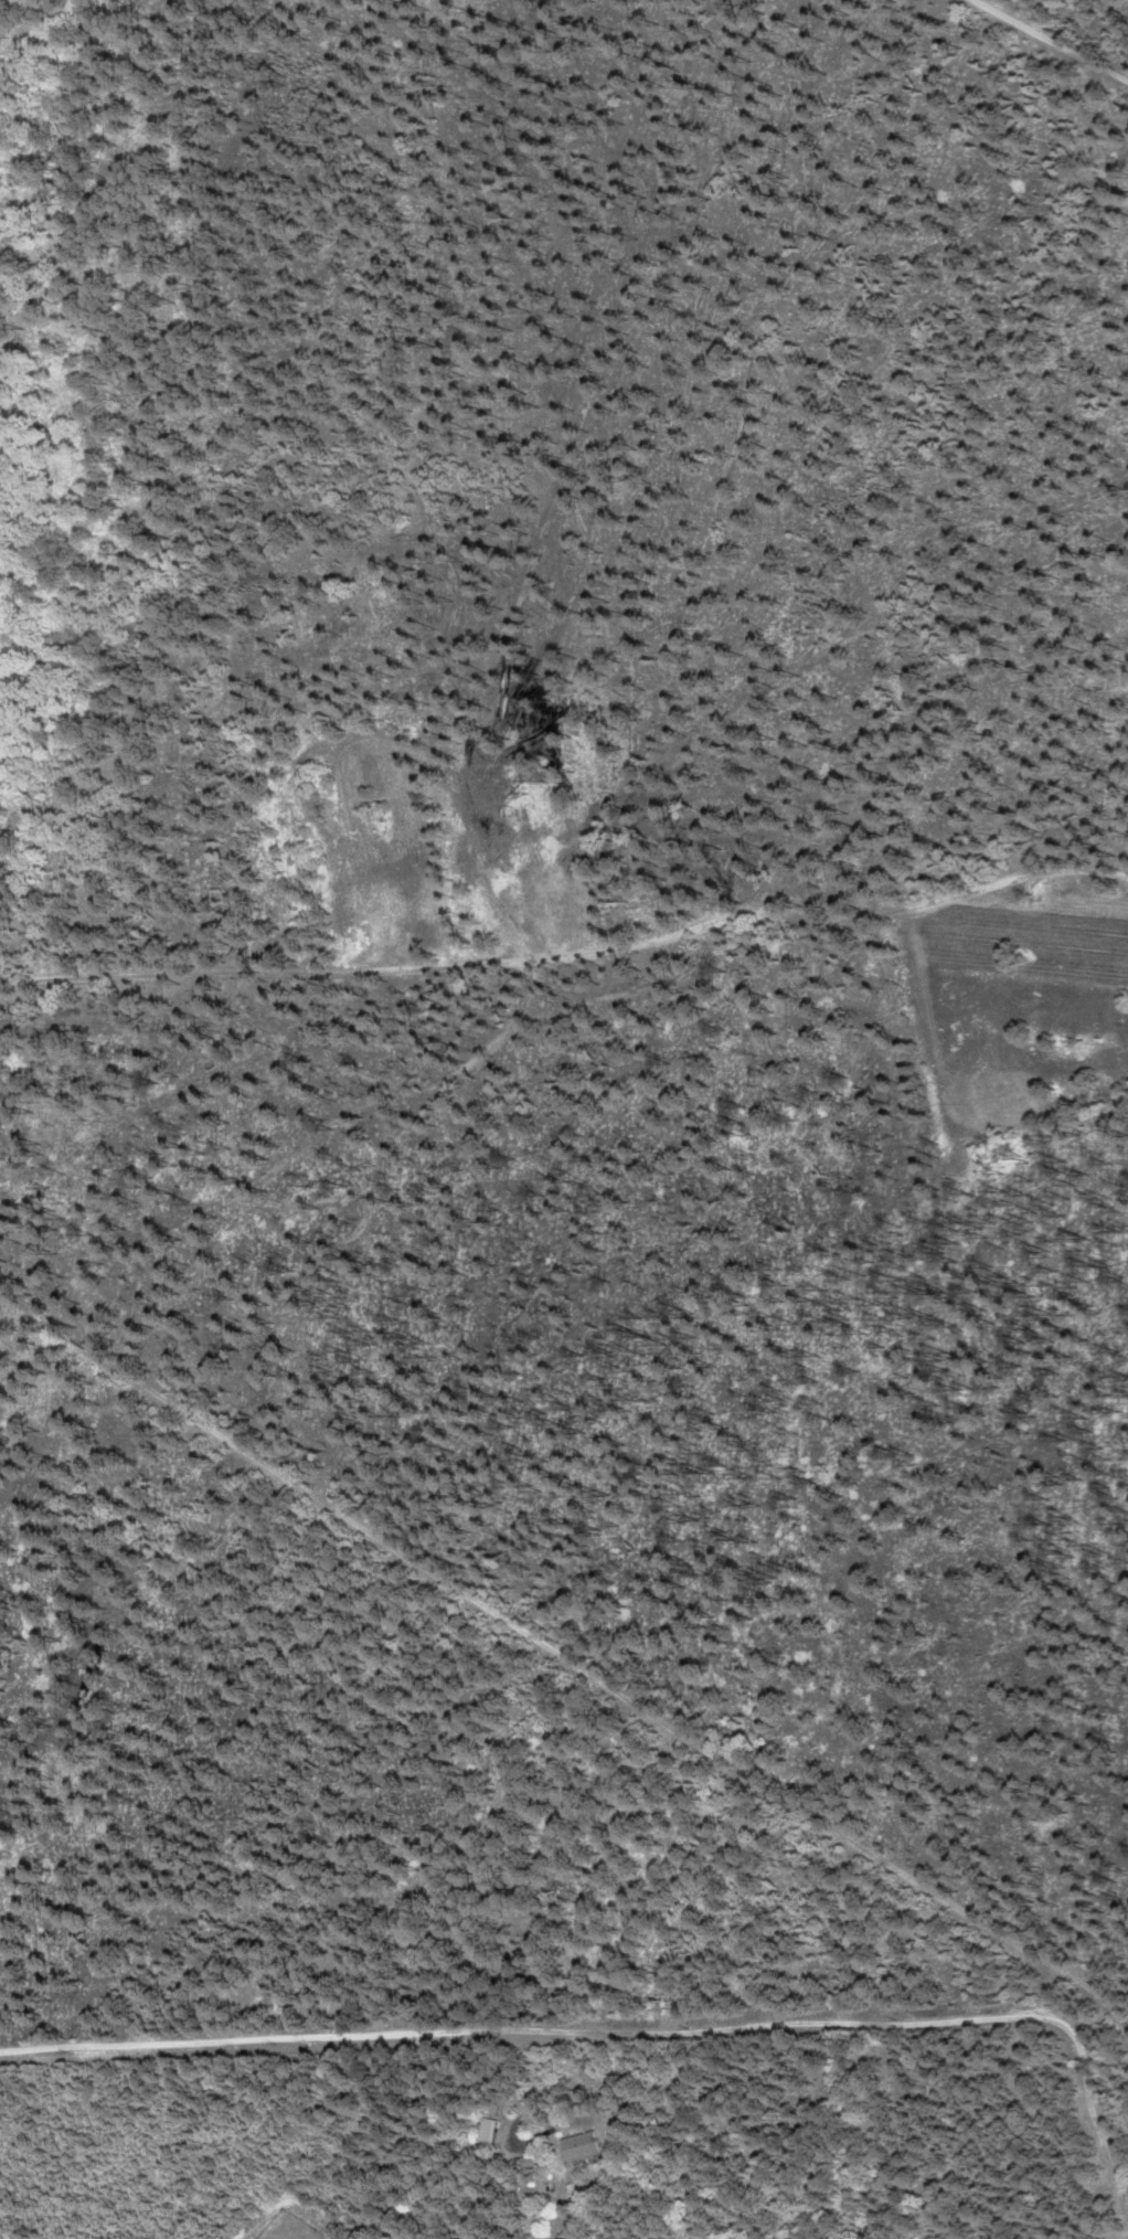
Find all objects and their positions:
building: (582, 2145)

